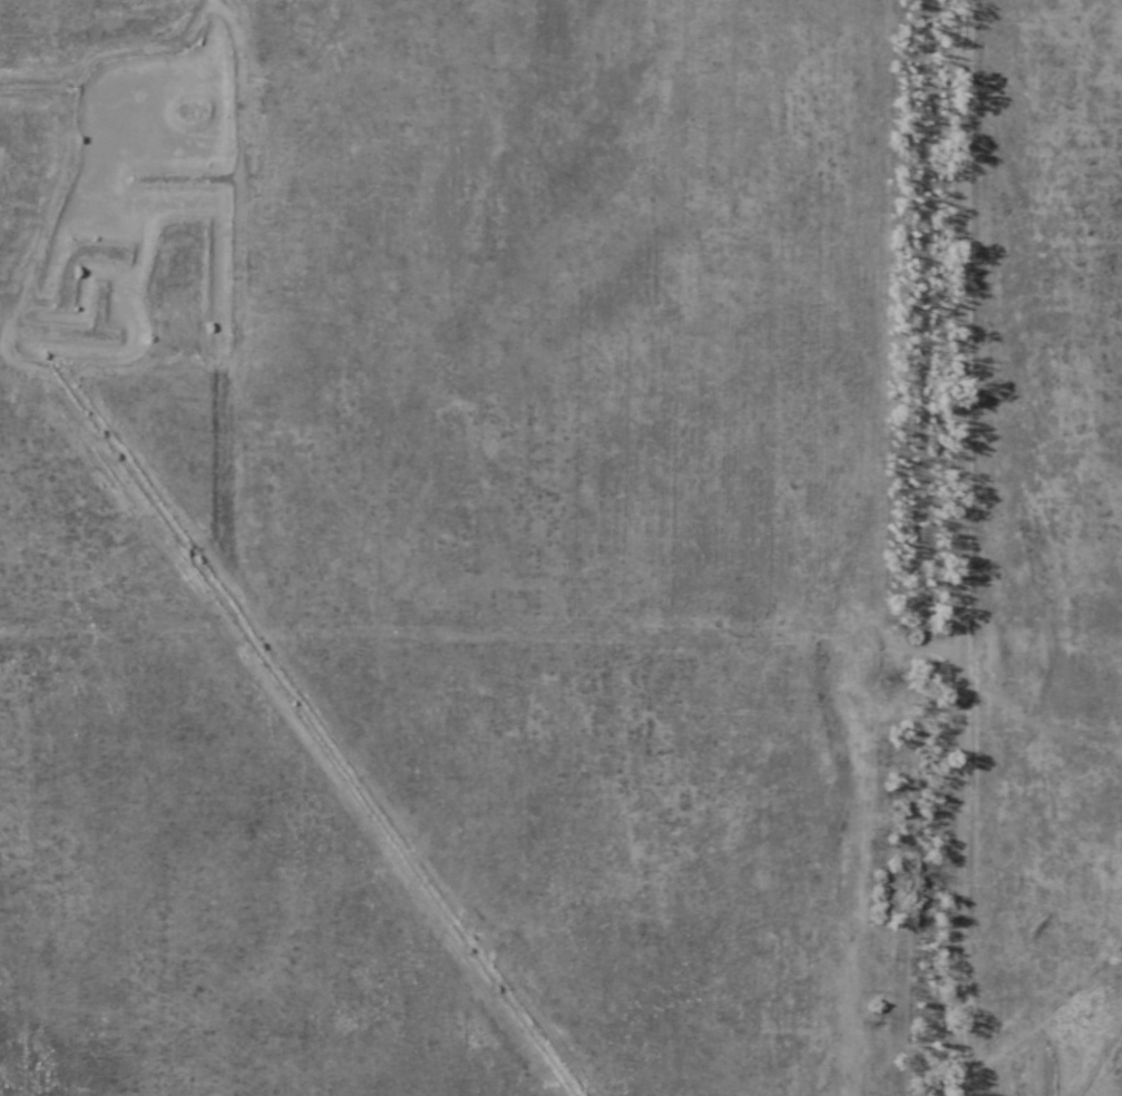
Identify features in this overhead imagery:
crop: (560, 548)

